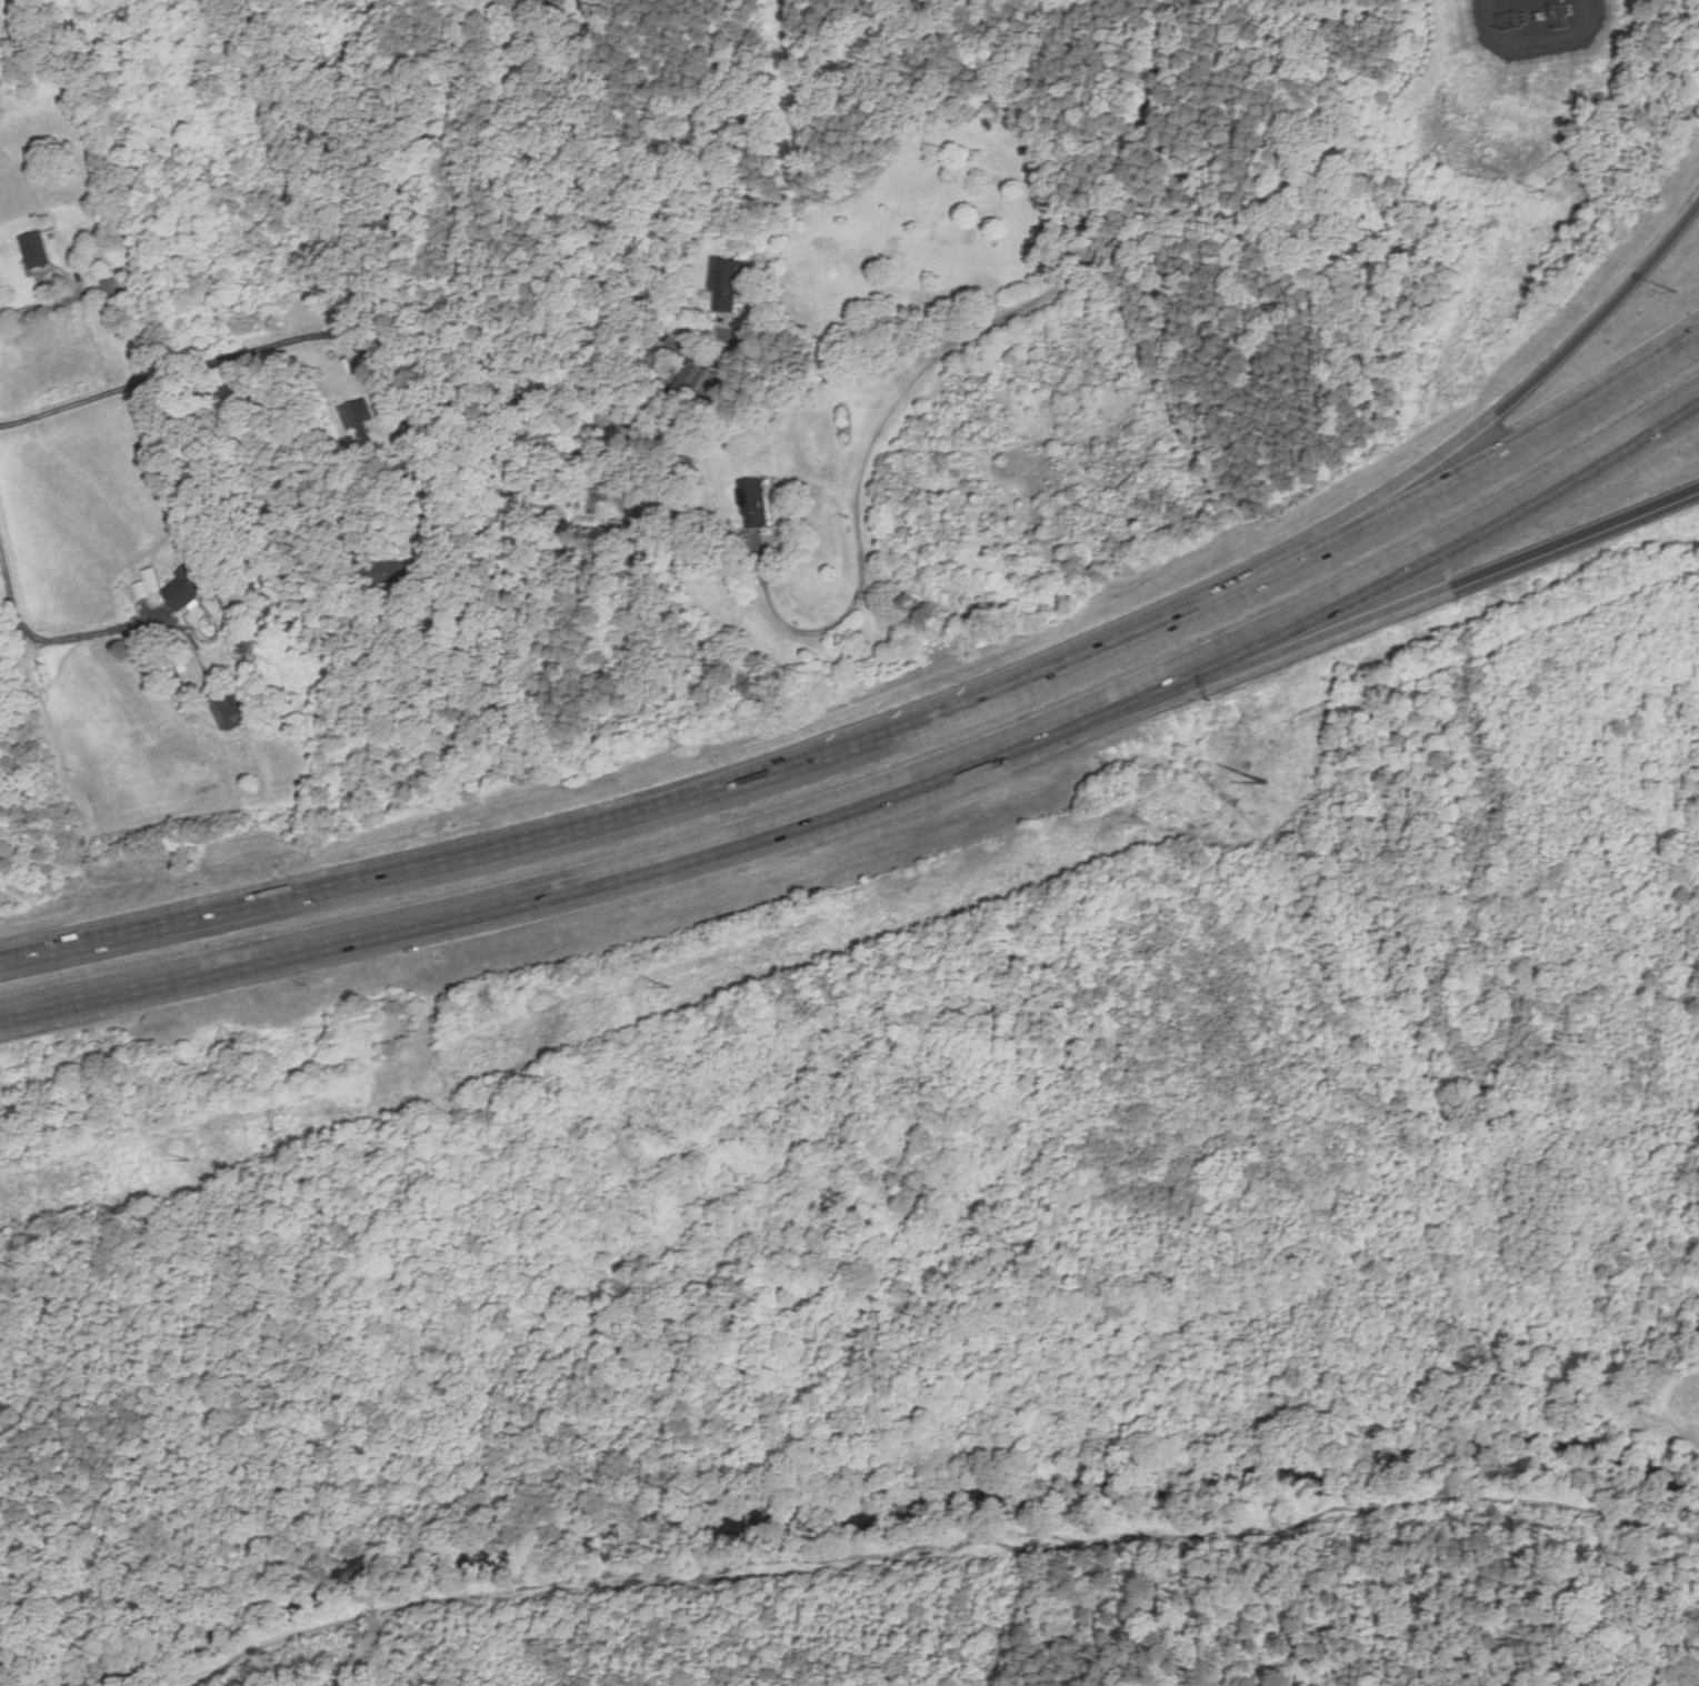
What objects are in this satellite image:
building: (524, 9)
power substation: (1538, 24)
building: (0, 98)
building: (37, 250)
building: (728, 283)
road: (46, 304)
road: (848, 339)
road: (287, 342)
road: (946, 351)
road: (1538, 377)
building: (708, 383)
building: (364, 409)
building: (754, 502)
road: (1438, 551)
road: (1273, 571)
building: (192, 583)
road: (1435, 592)
road: (14, 602)
road: (90, 633)
building: (229, 707)
road: (414, 869)
road: (592, 882)

